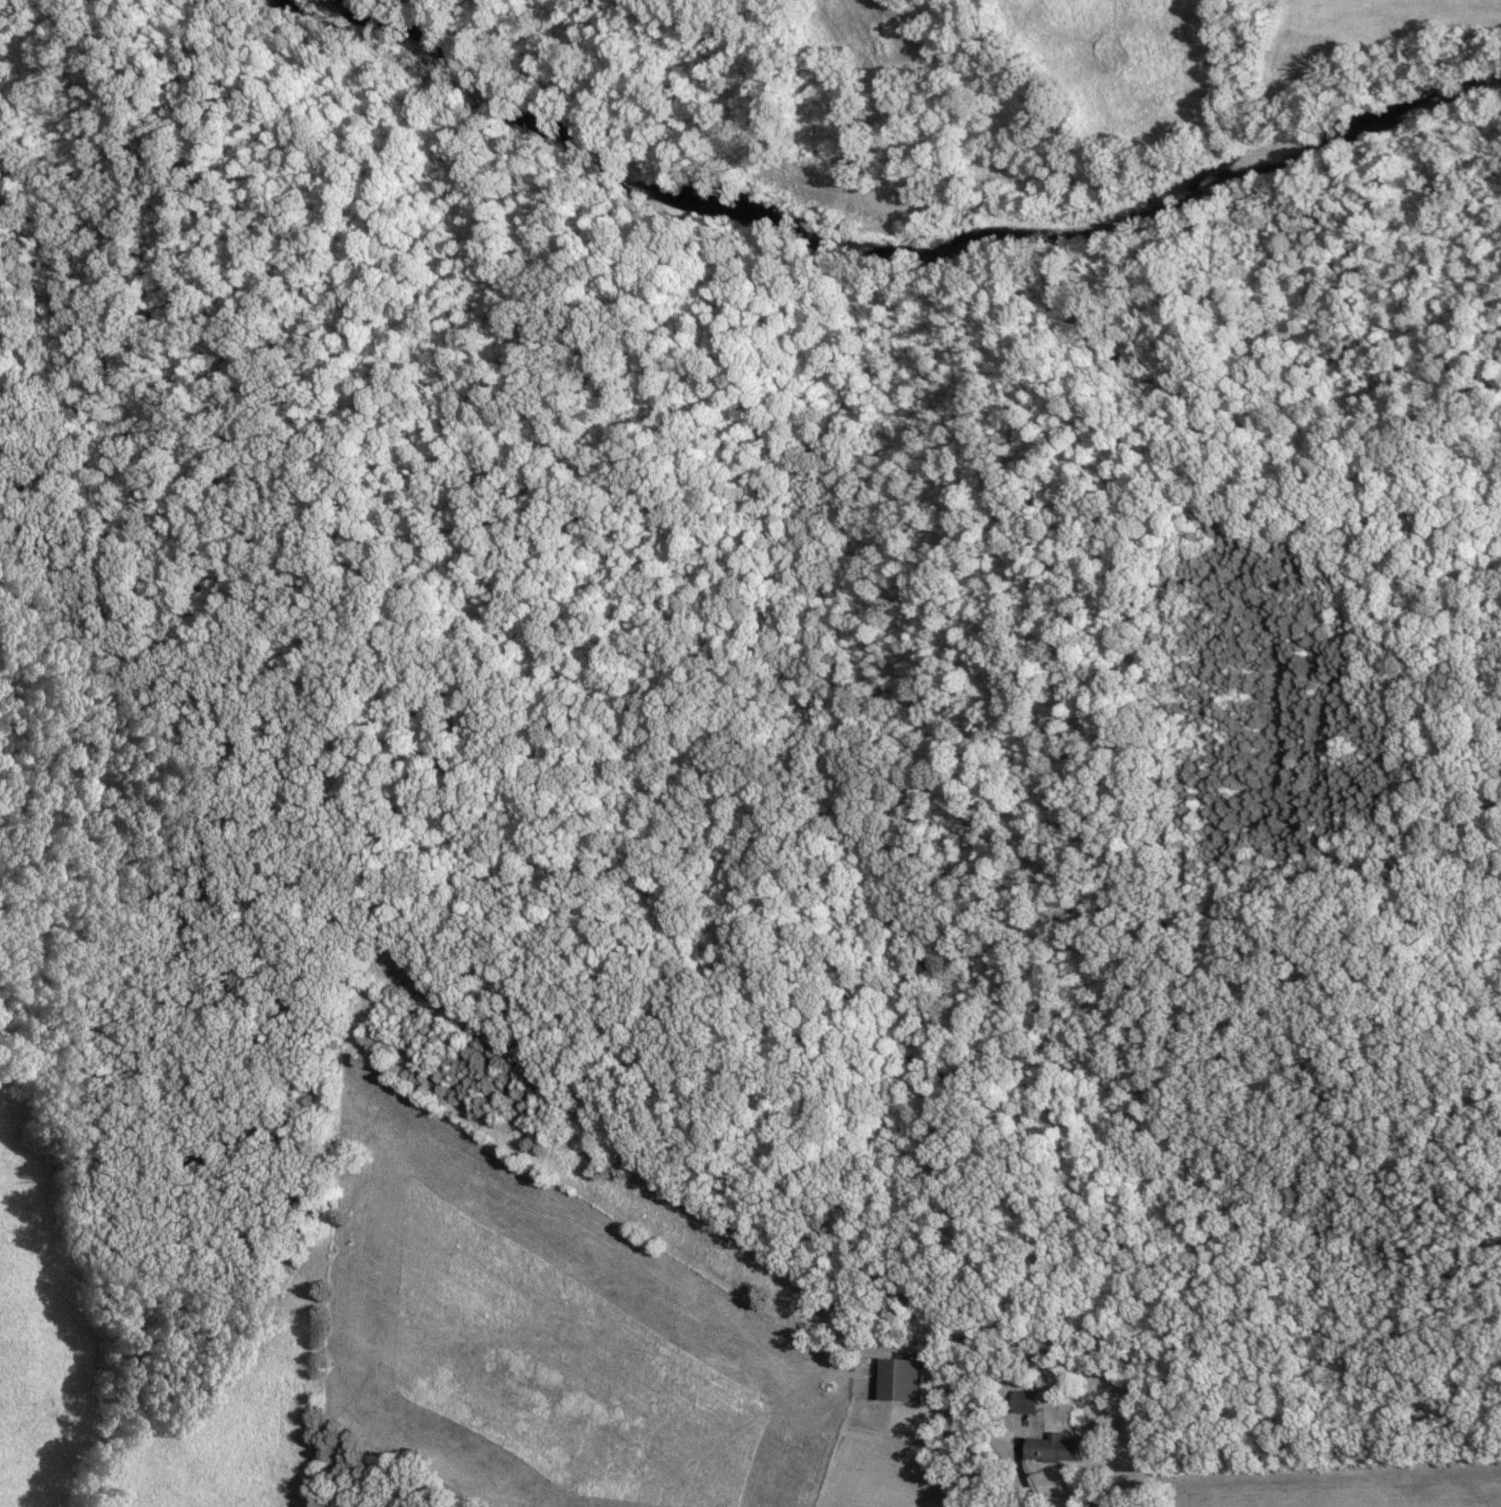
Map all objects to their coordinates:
building: (898, 1378)
building: (1024, 1401)
building: (1052, 1448)
road: (1018, 1475)

